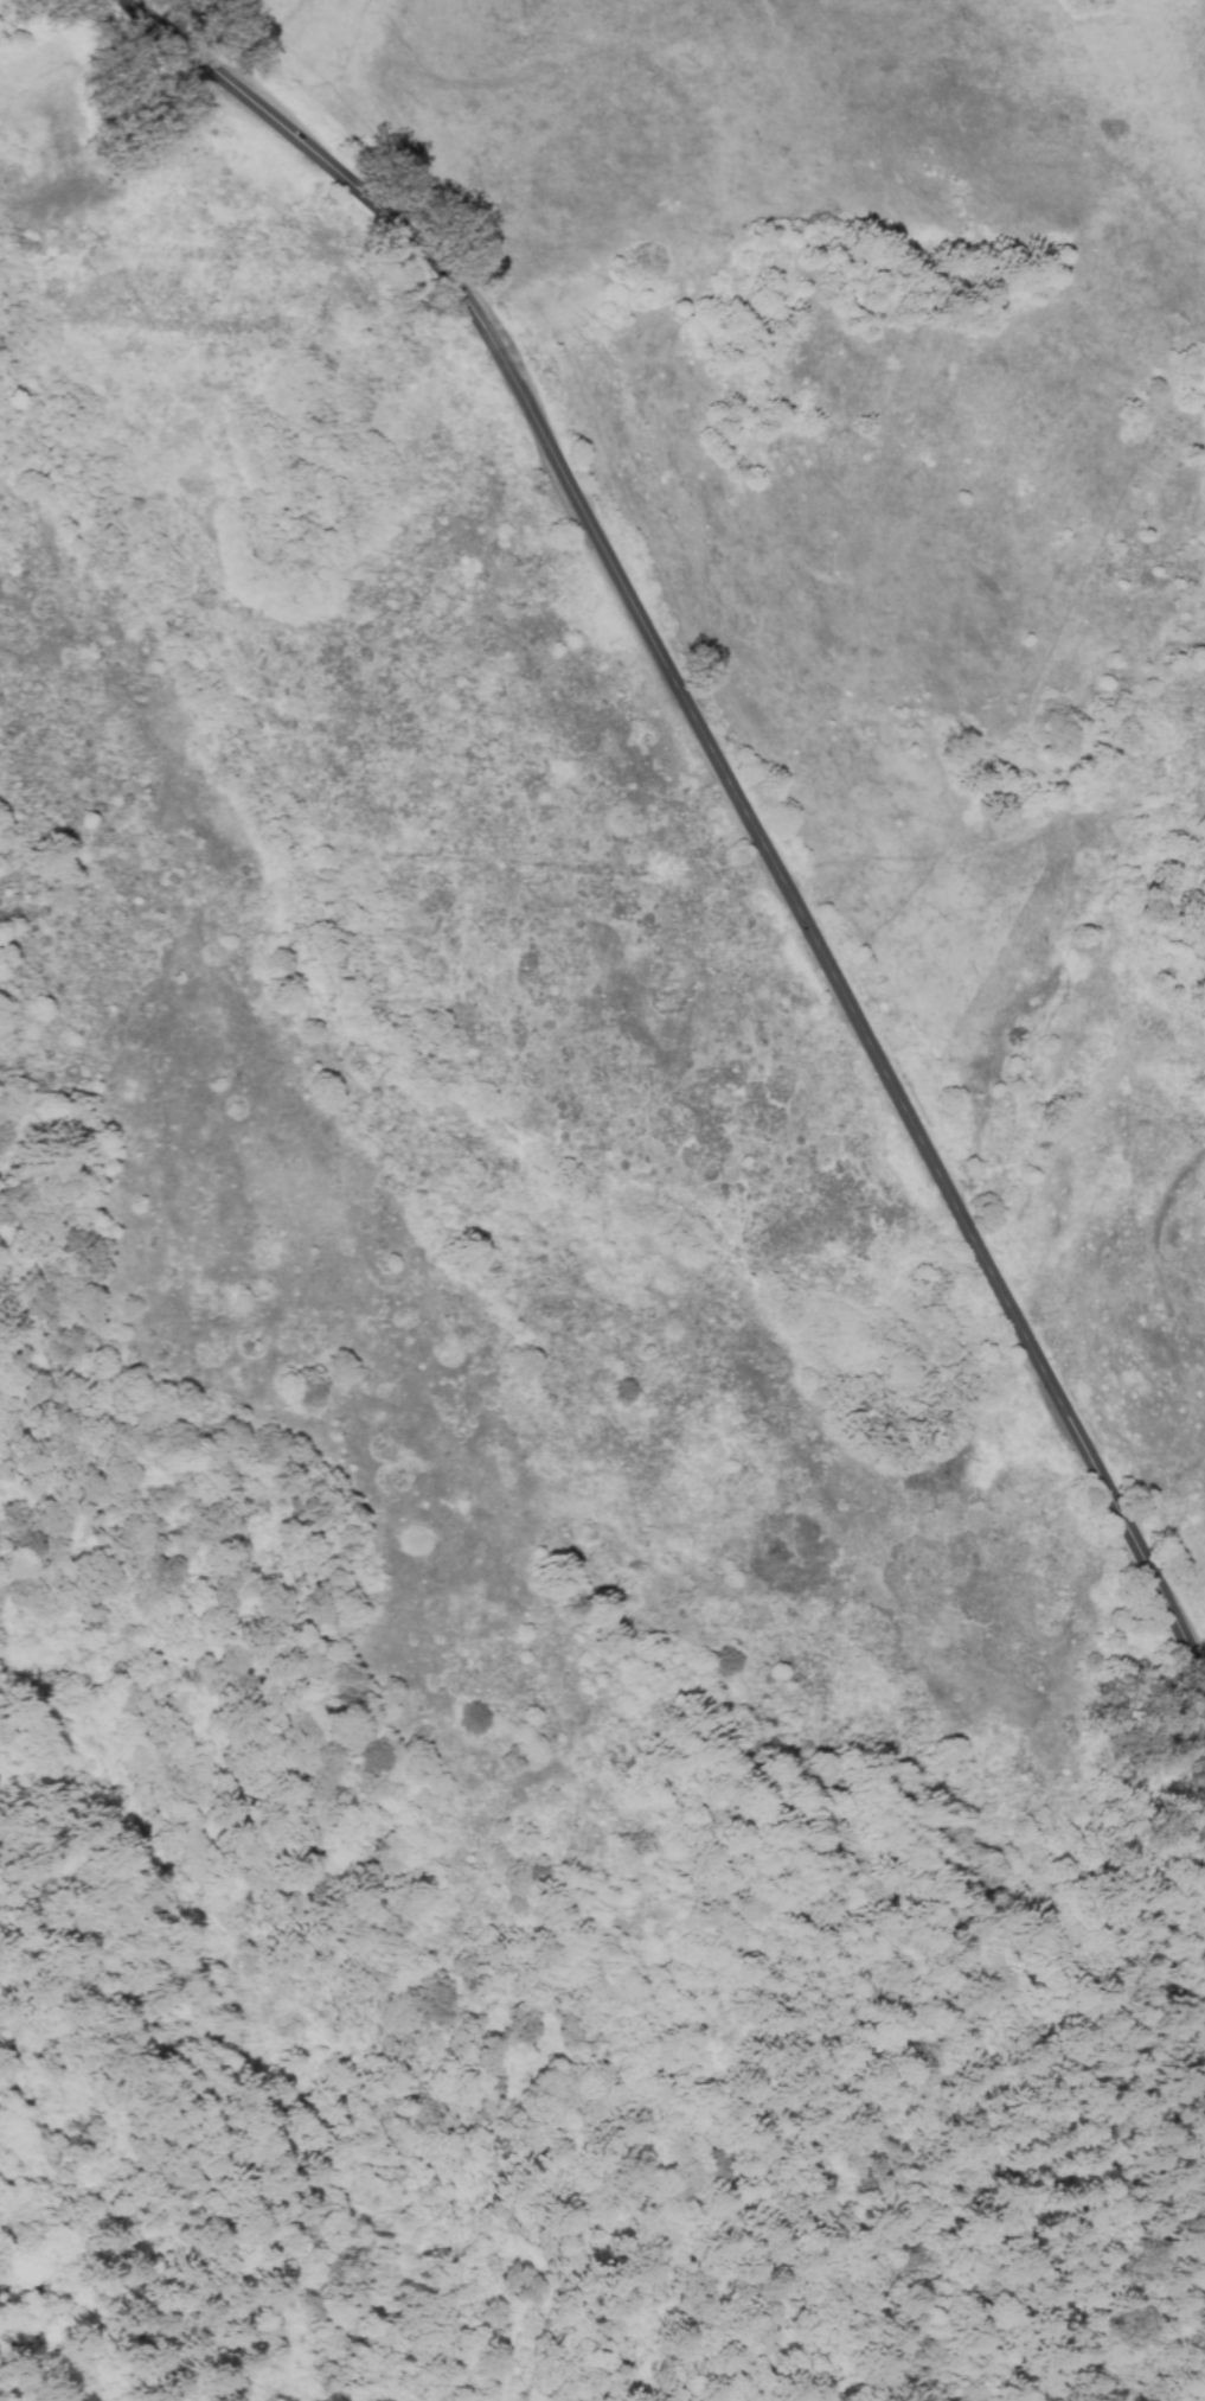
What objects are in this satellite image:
road: (735, 798)
road: (294, 1994)

